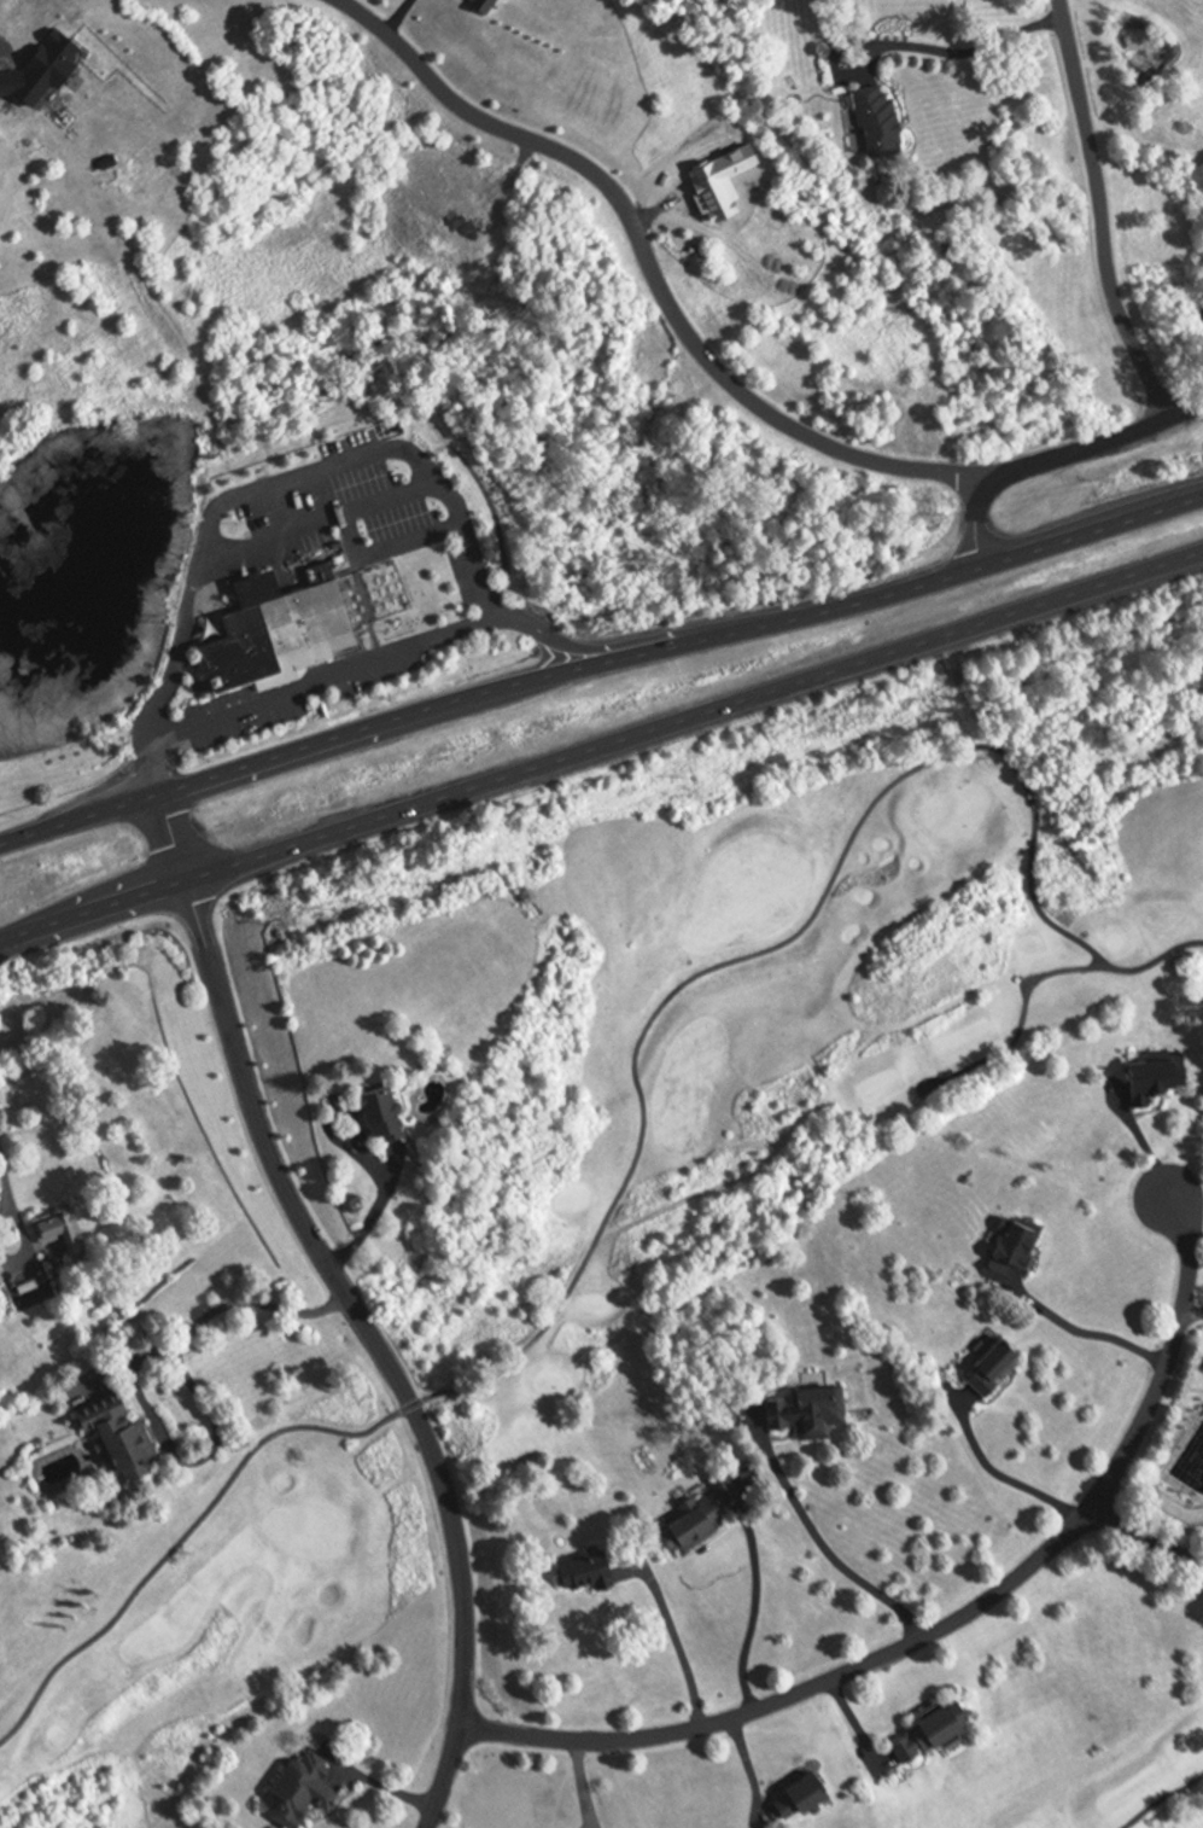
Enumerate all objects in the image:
road: (397, 17)
road: (967, 47)
building: (877, 122)
road: (1102, 211)
road: (647, 262)
building: (590, 353)
road: (1047, 452)
road: (306, 475)
parking lot: (340, 508)
road: (320, 520)
road: (469, 558)
road: (466, 627)
building: (280, 631)
road: (630, 651)
road: (602, 673)
road: (169, 679)
road: (302, 688)
parking lot: (293, 695)
road: (168, 746)
road: (605, 752)
building: (1152, 1081)
building: (380, 1116)
road: (8, 1194)
park: (621, 1221)
road: (369, 1223)
building: (59, 1232)
building: (1012, 1253)
building: (25, 1287)
road: (351, 1308)
road: (216, 1312)
road: (1192, 1312)
road: (1087, 1333)
building: (992, 1369)
parking lot: (1201, 1372)
building: (806, 1414)
building: (115, 1439)
road: (202, 1459)
road: (1000, 1475)
park: (1166, 1485)
building: (693, 1527)
road: (1140, 1541)
road: (824, 1548)
building: (585, 1573)
road: (751, 1613)
road: (951, 1626)
road: (678, 1647)
building: (924, 1737)
park: (1126, 1783)
building: (298, 1793)
building: (799, 1800)

